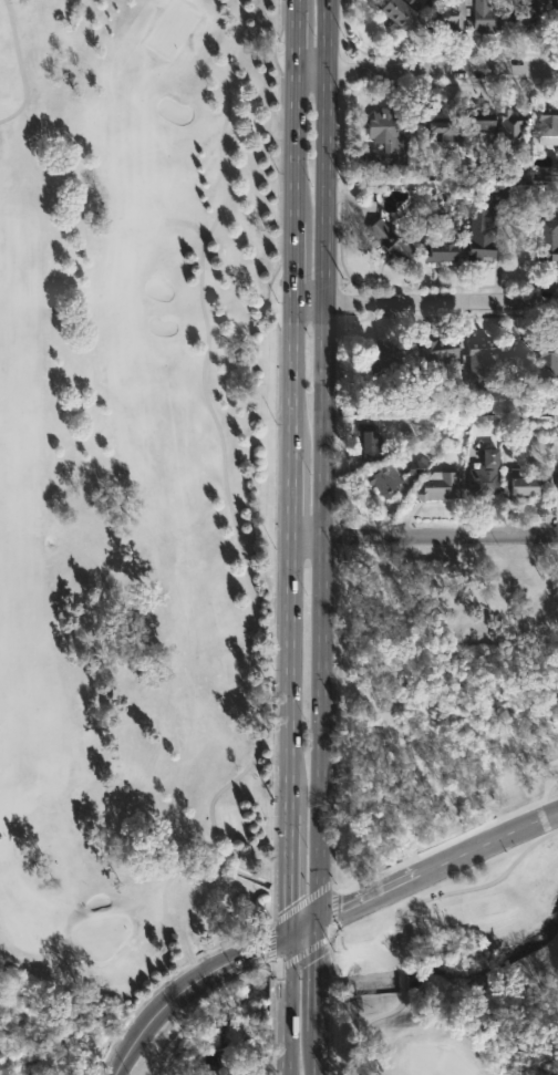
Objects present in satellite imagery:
road: (299, 4)
building: (400, 11)
building: (554, 13)
building: (451, 14)
building: (487, 17)
building: (526, 17)
park: (172, 28)
road: (299, 40)
road: (20, 65)
road: (428, 70)
building: (480, 120)
building: (547, 120)
building: (442, 122)
building: (512, 126)
building: (385, 138)
road: (297, 146)
building: (485, 225)
building: (549, 239)
building: (394, 241)
building: (446, 246)
road: (294, 262)
road: (425, 304)
building: (443, 349)
building: (515, 355)
building: (383, 358)
building: (483, 358)
building: (444, 360)
building: (548, 362)
road: (293, 380)
road: (220, 438)
building: (370, 442)
road: (327, 456)
building: (487, 475)
building: (387, 479)
building: (519, 483)
building: (441, 485)
road: (292, 499)
road: (425, 539)
park: (188, 583)
road: (291, 678)
park: (455, 699)
road: (396, 861)
road: (440, 862)
road: (290, 874)
road: (245, 875)
road: (440, 893)
traffic signals: (324, 914)
road: (306, 923)
traffic signals: (288, 933)
park: (101, 934)
road: (323, 948)
road: (288, 959)
road: (142, 975)
road: (401, 978)
road: (184, 984)
road: (322, 993)
road: (289, 995)
road: (364, 1024)
park: (130, 1037)
road: (288, 1041)
road: (321, 1041)
park: (434, 1061)

